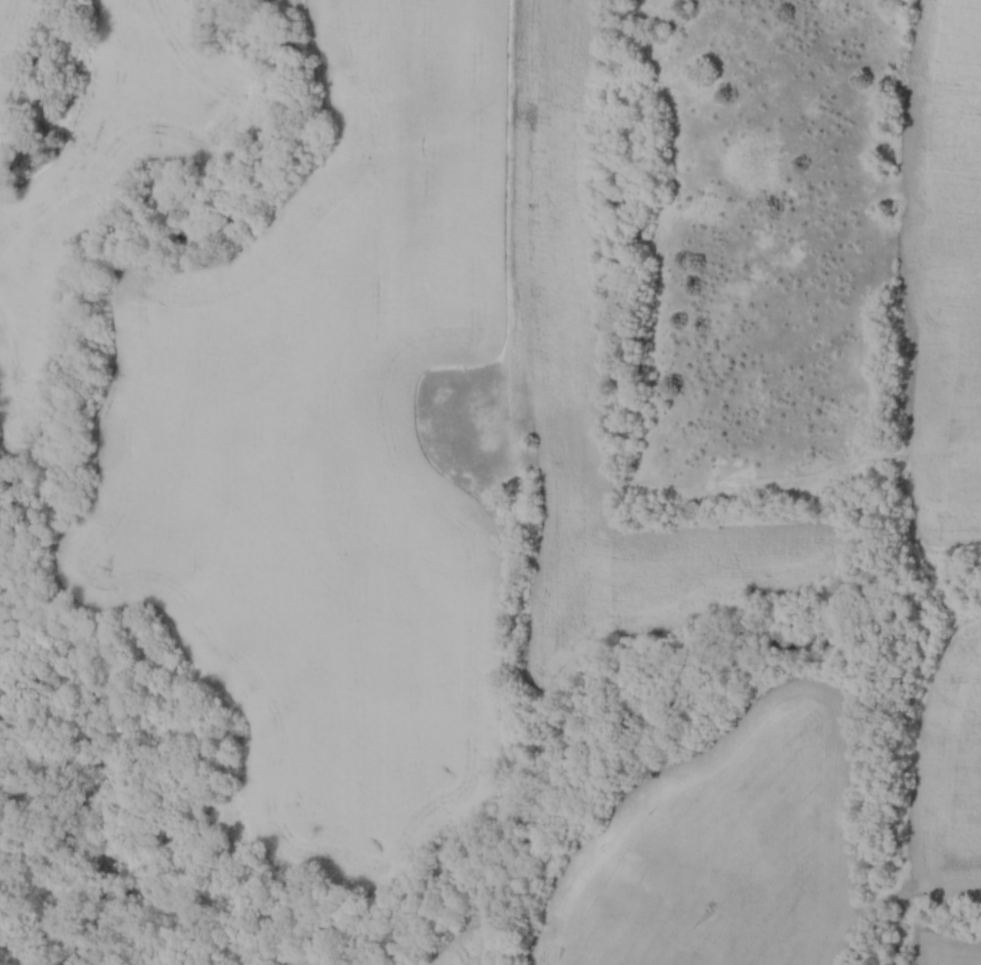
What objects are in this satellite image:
crop: (599, 386)
crop: (719, 850)
crop: (470, 946)
crop: (947, 947)
crop: (327, 962)

